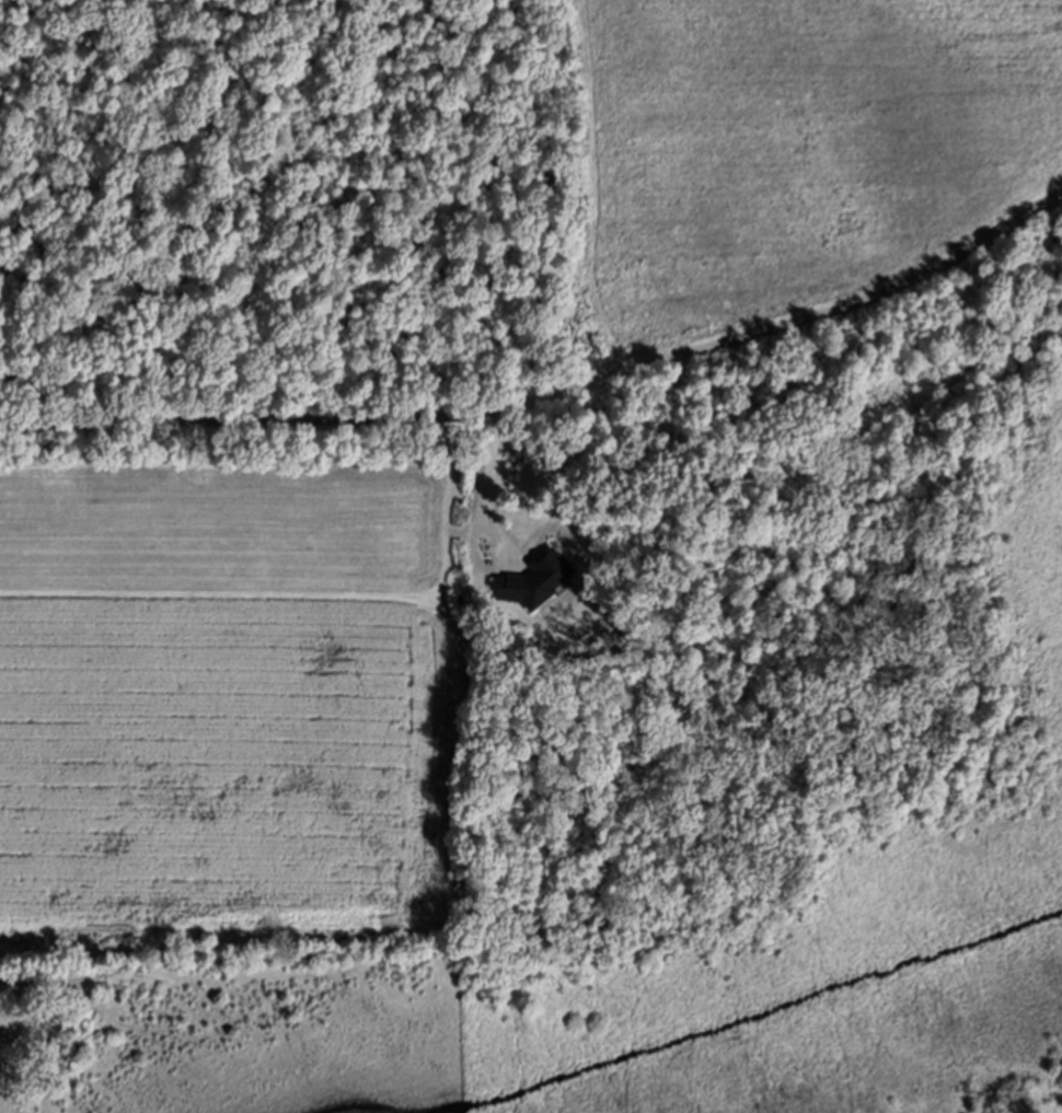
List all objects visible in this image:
road: (824, 322)
road: (287, 431)
road: (486, 527)
building: (533, 578)

